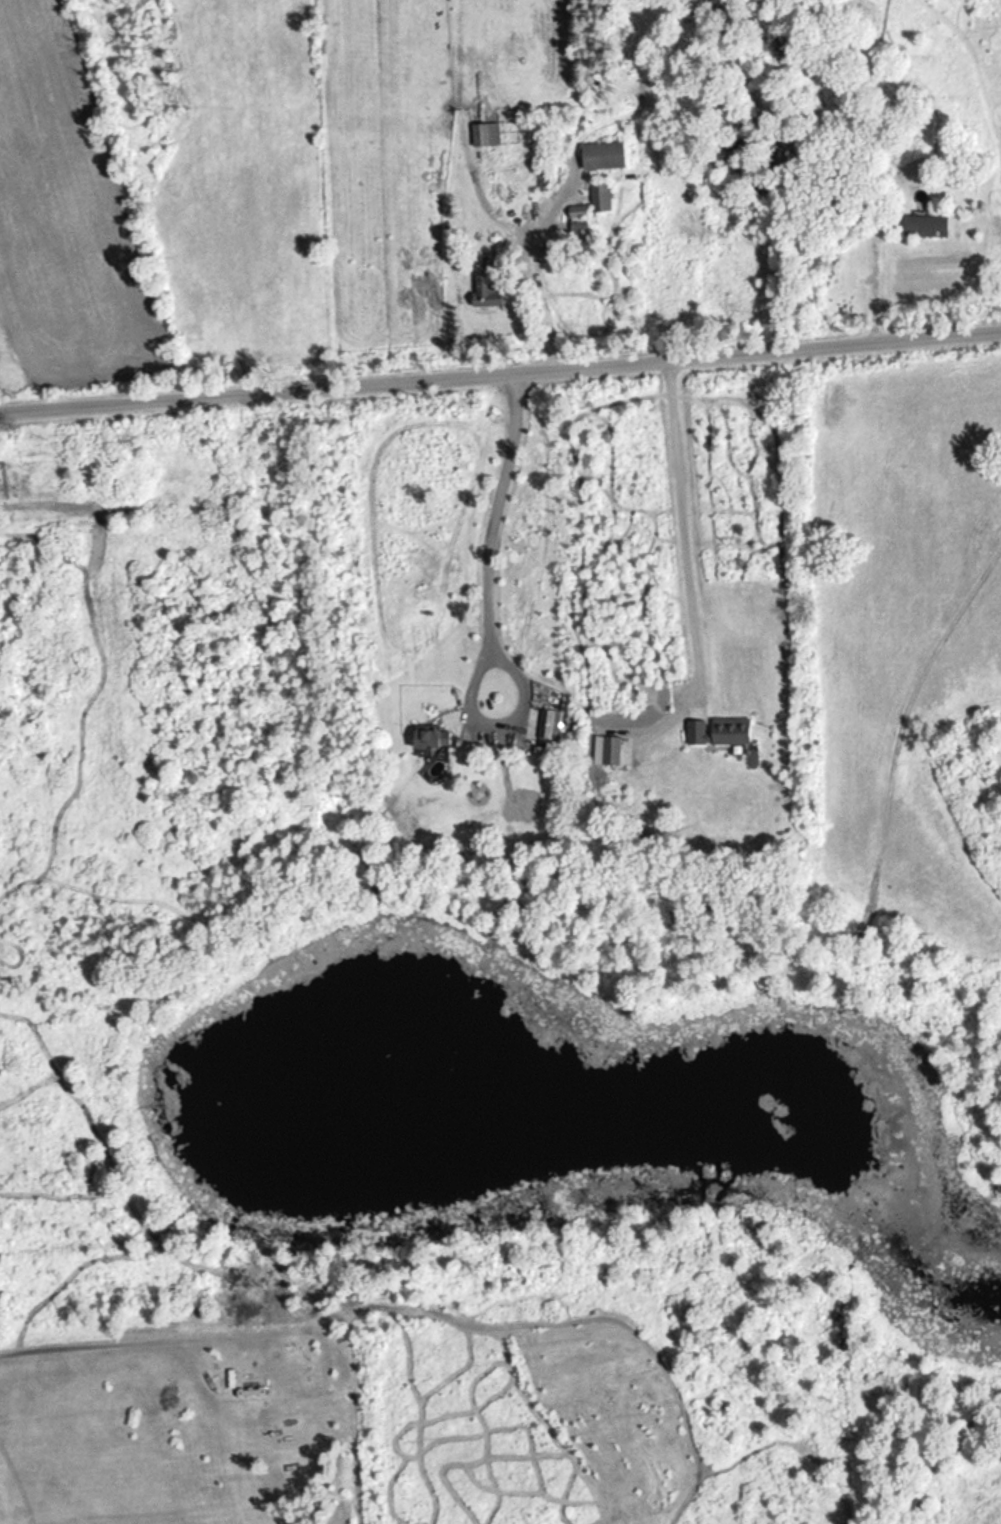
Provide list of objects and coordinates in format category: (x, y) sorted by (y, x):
building: (488, 136)
building: (606, 157)
building: (602, 198)
building: (580, 221)
building: (928, 228)
building: (546, 257)
road: (881, 285)
building: (489, 294)
road: (500, 372)
road: (498, 514)
road: (691, 529)
building: (549, 726)
building: (733, 733)
building: (434, 741)

